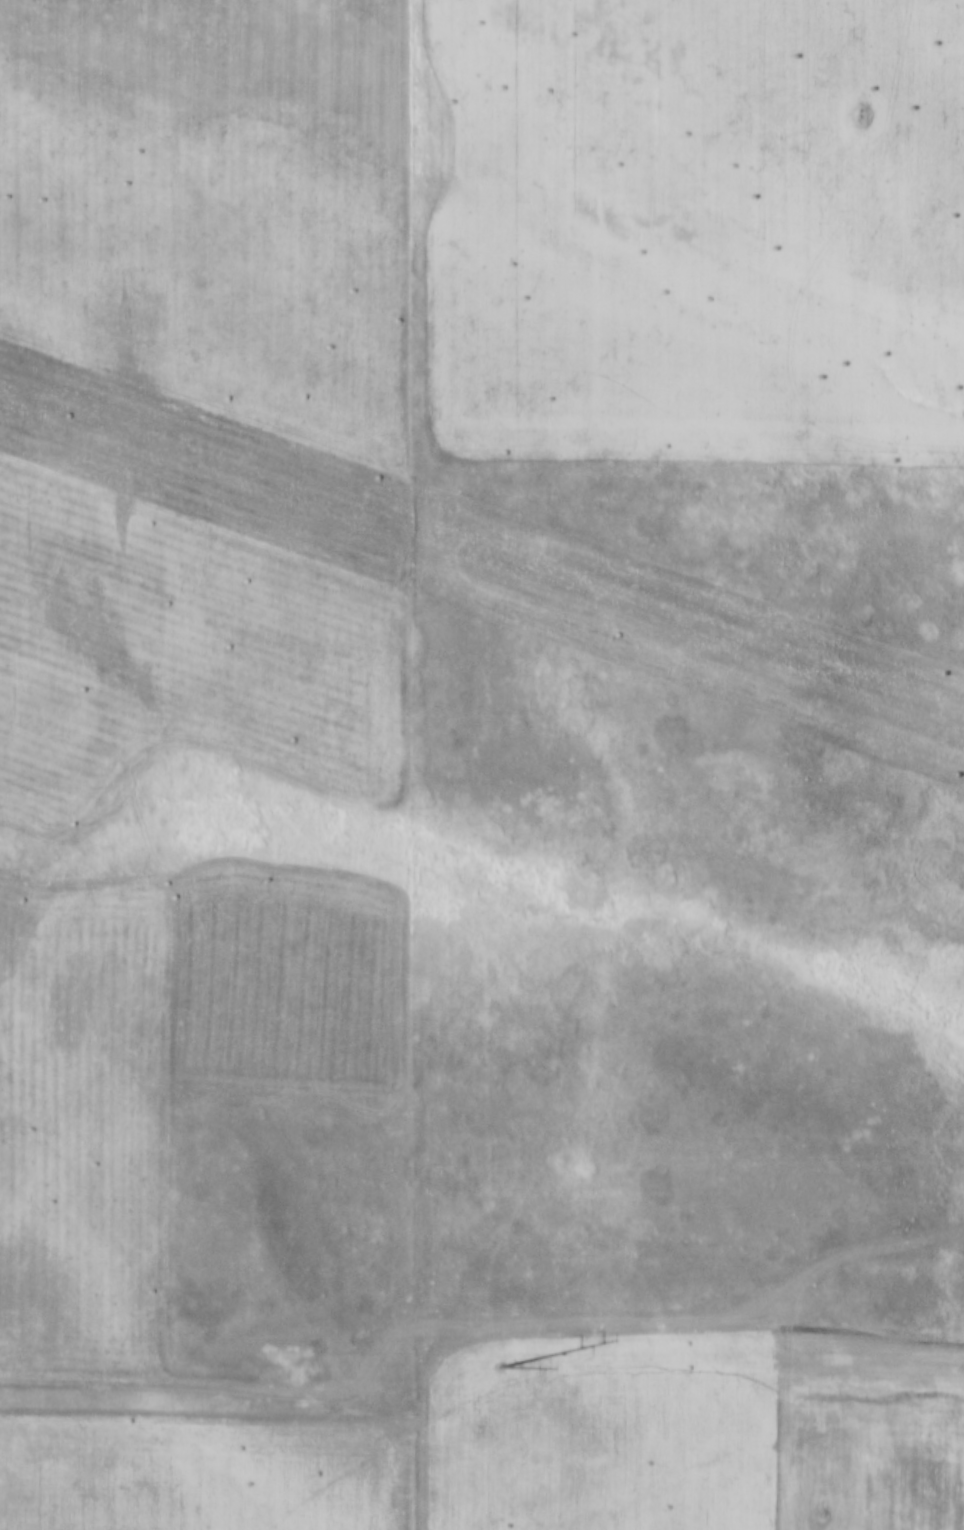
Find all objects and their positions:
power tower: (494, 1367)

